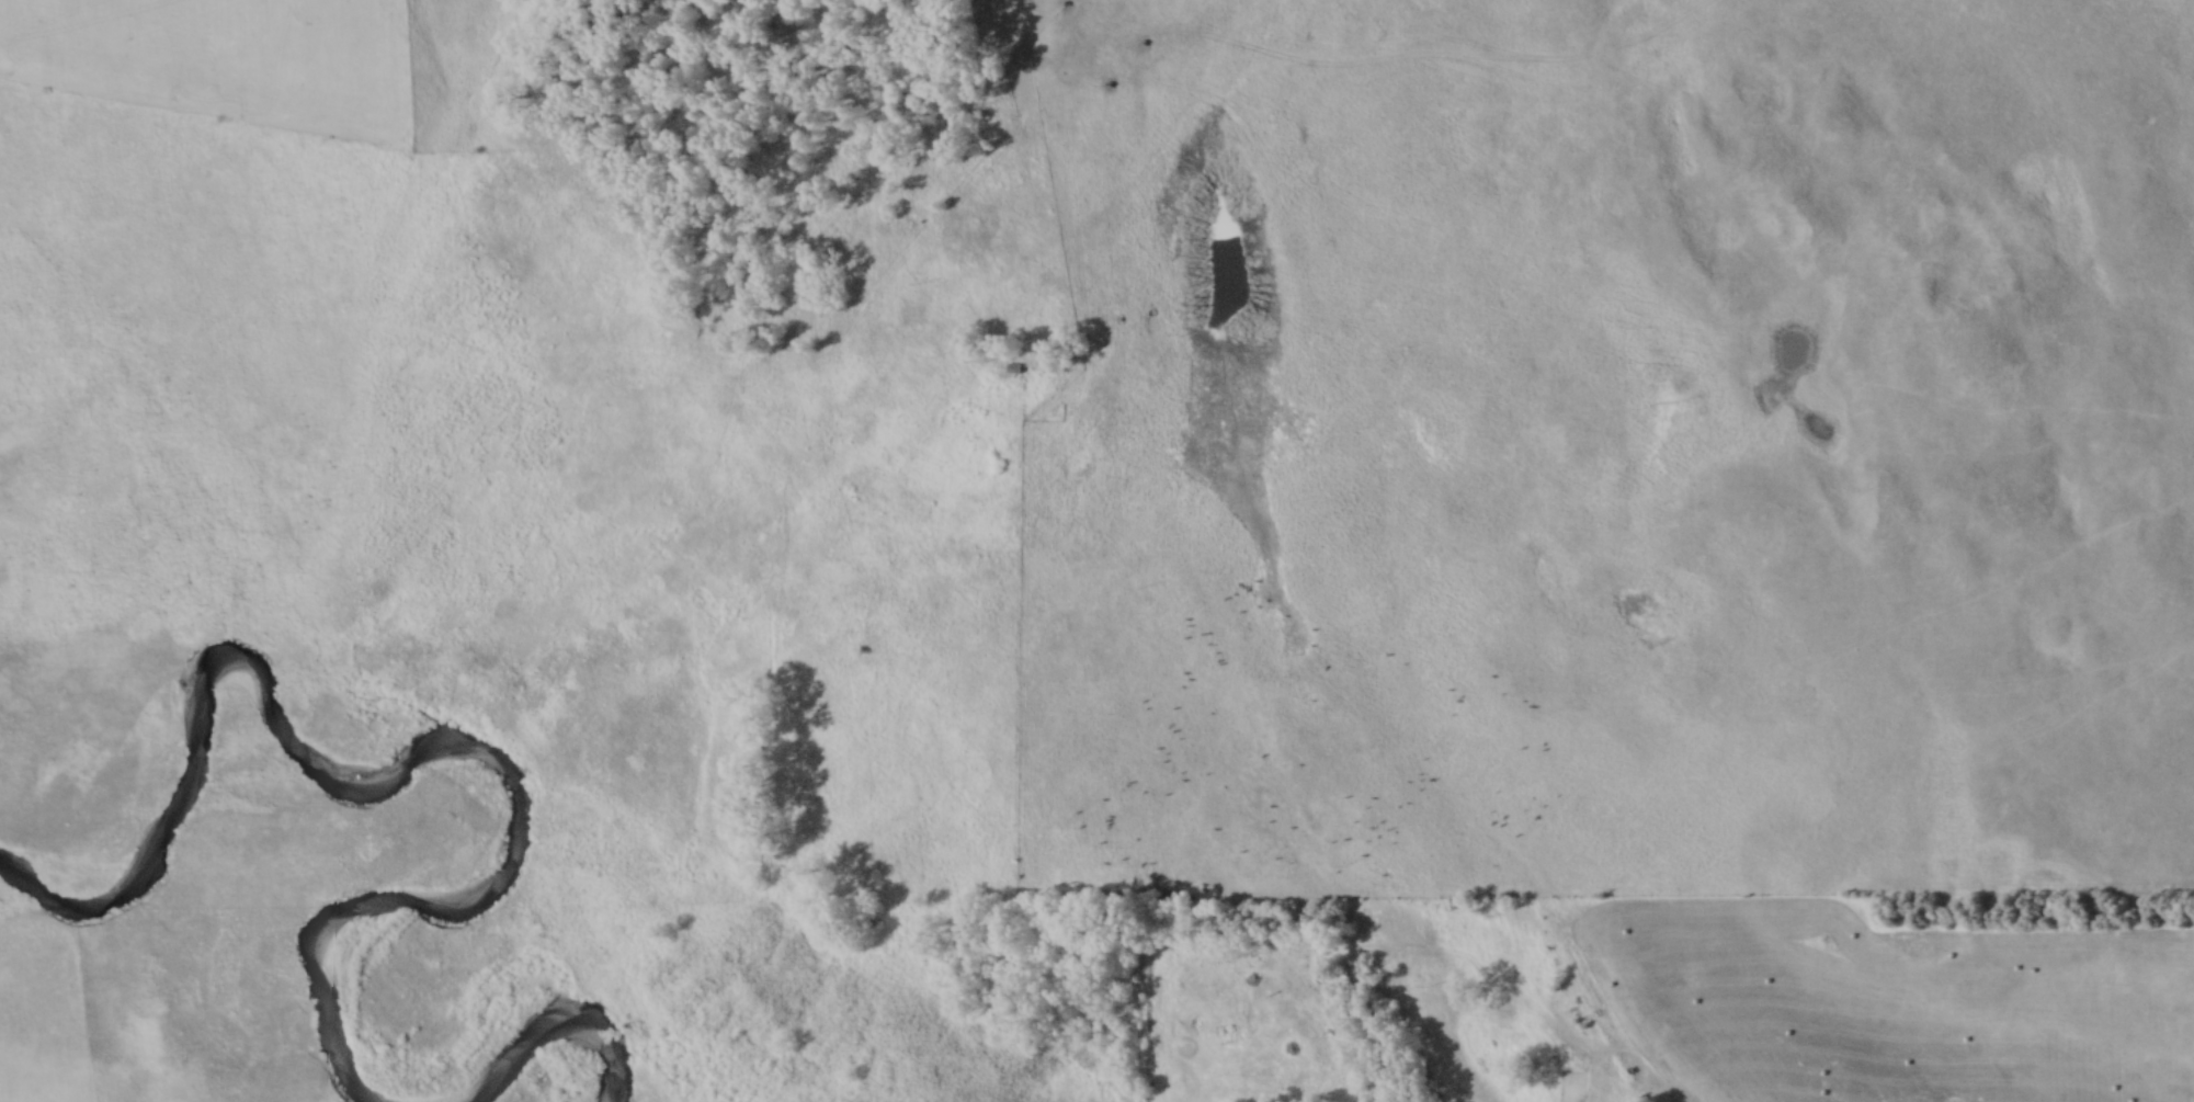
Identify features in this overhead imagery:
road: (1398, 45)
building: (1011, 368)
river: (504, 811)

